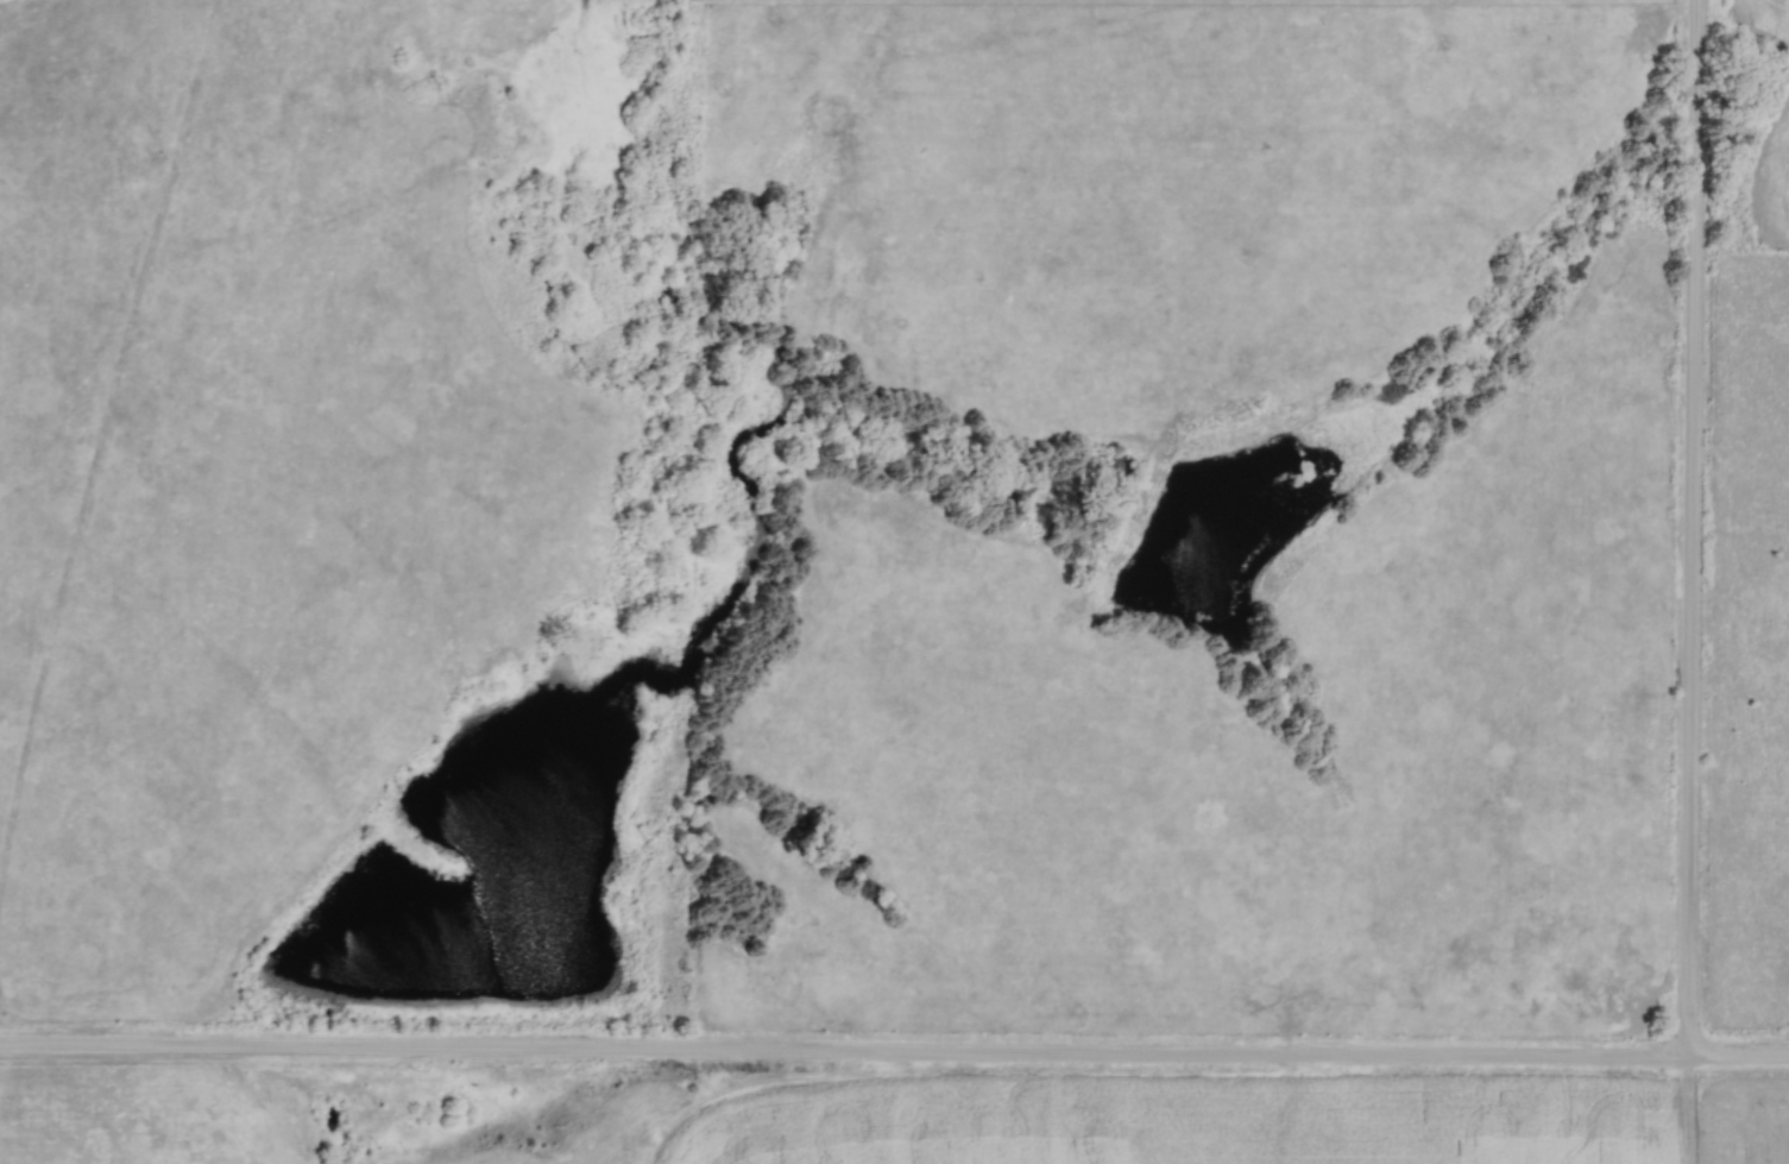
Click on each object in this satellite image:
road: (1694, 528)
road: (894, 1049)

